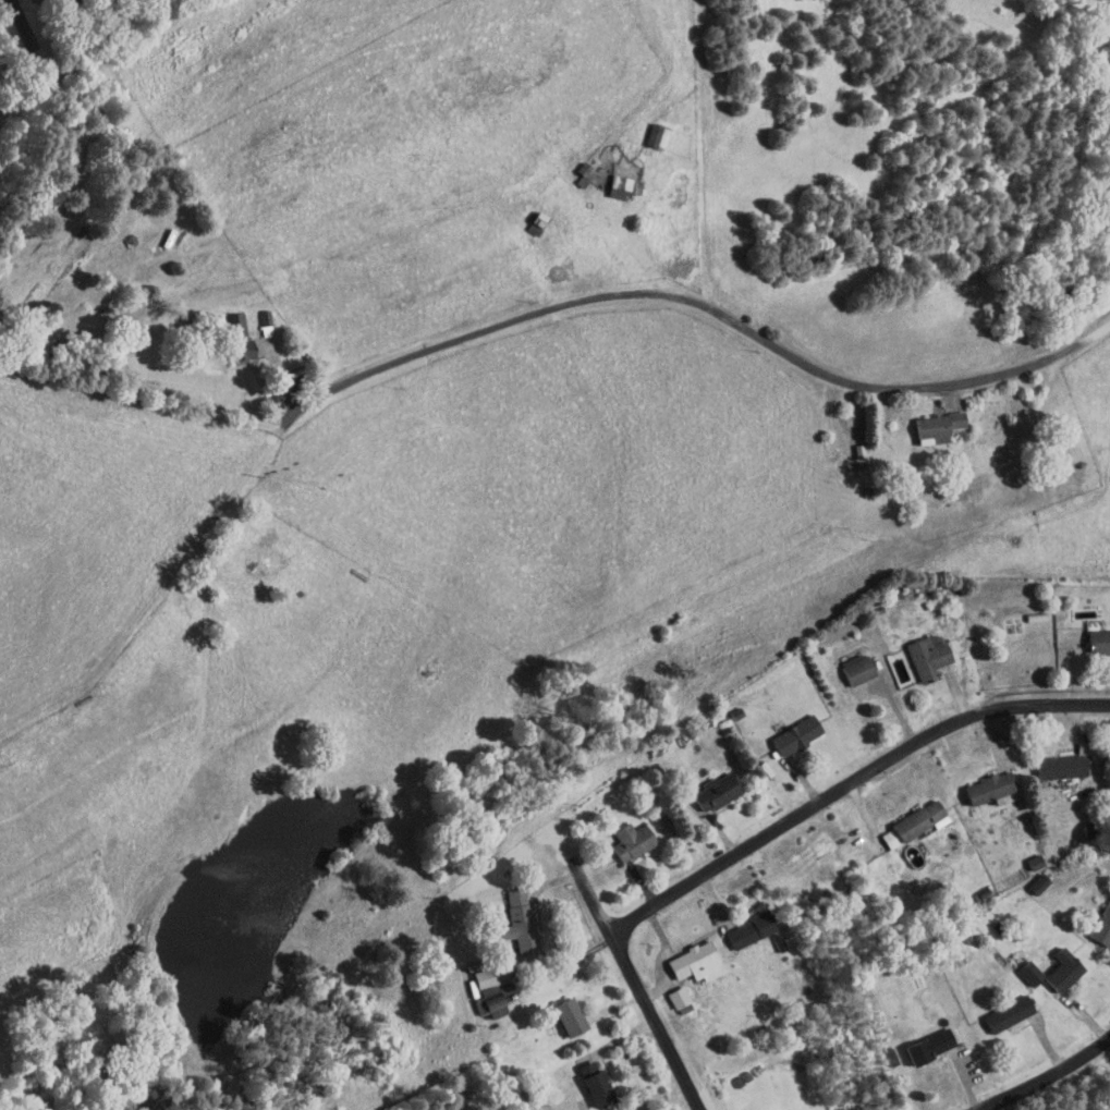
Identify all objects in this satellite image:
road: (35, 25)
building: (646, 130)
building: (608, 180)
building: (522, 219)
road: (707, 304)
building: (253, 310)
building: (225, 329)
building: (926, 420)
building: (1093, 634)
building: (916, 650)
building: (846, 662)
building: (784, 729)
building: (1049, 760)
building: (978, 782)
road: (850, 784)
building: (705, 785)
building: (908, 814)
building: (878, 832)
building: (620, 834)
building: (1024, 855)
building: (1026, 877)
building: (508, 915)
building: (1096, 915)
building: (740, 923)
building: (684, 956)
building: (1051, 964)
building: (1018, 966)
building: (473, 971)
road: (635, 976)
building: (667, 990)
building: (481, 995)
building: (997, 1007)
building: (558, 1010)
building: (918, 1039)
building: (583, 1076)
road: (1047, 1077)
building: (780, 1108)

